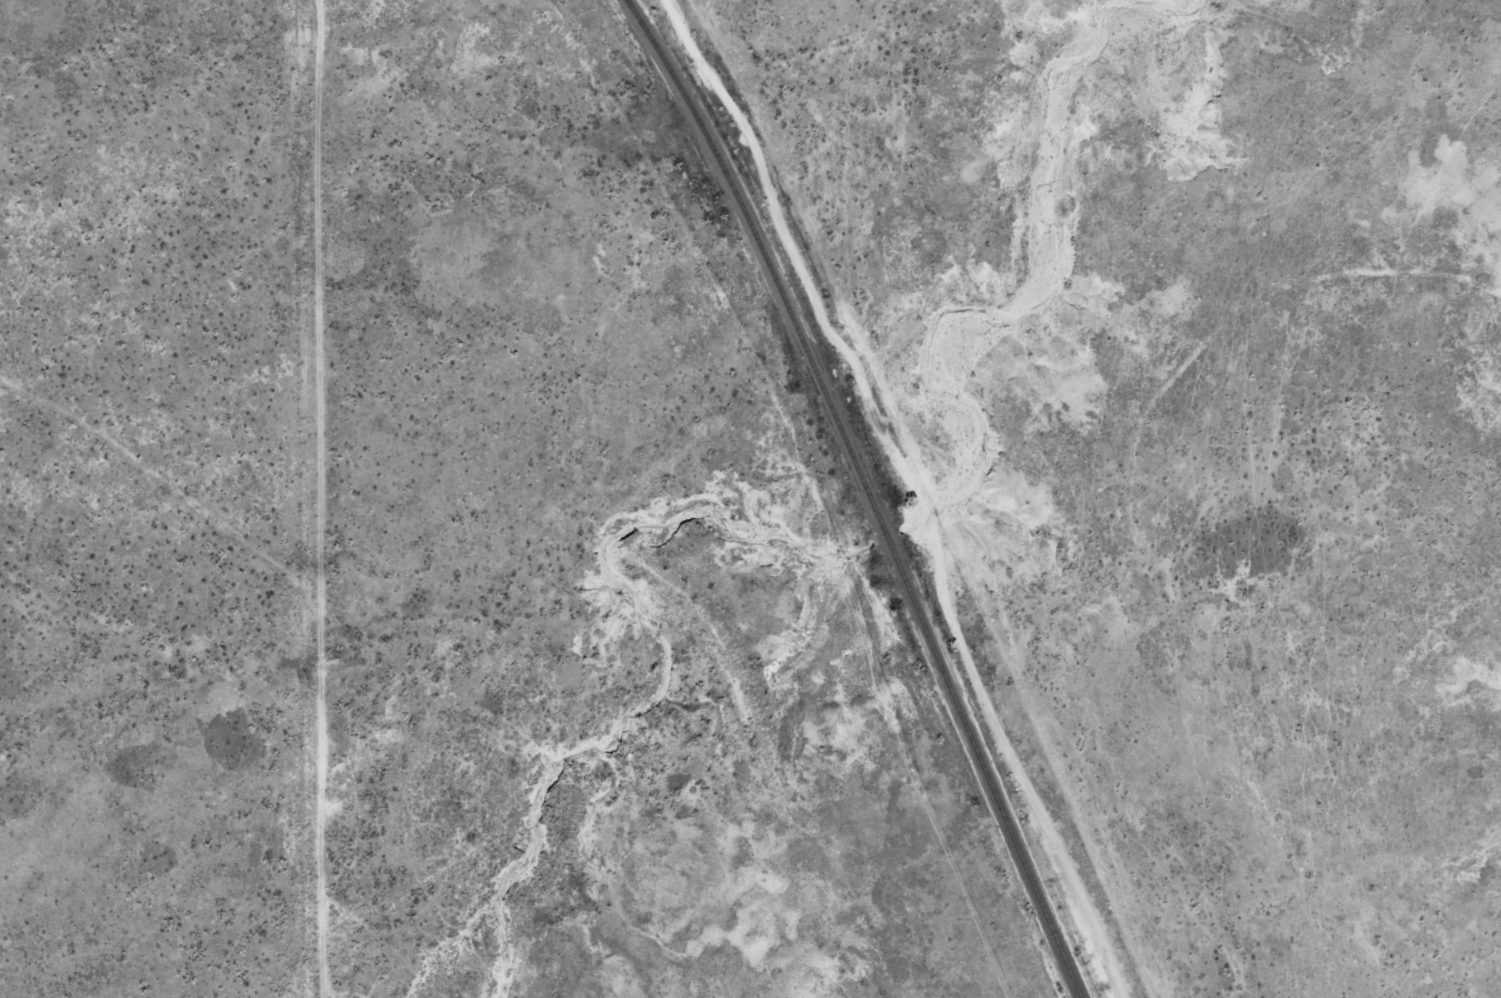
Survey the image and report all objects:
railway: (863, 491)
road: (300, 499)
road: (310, 596)

